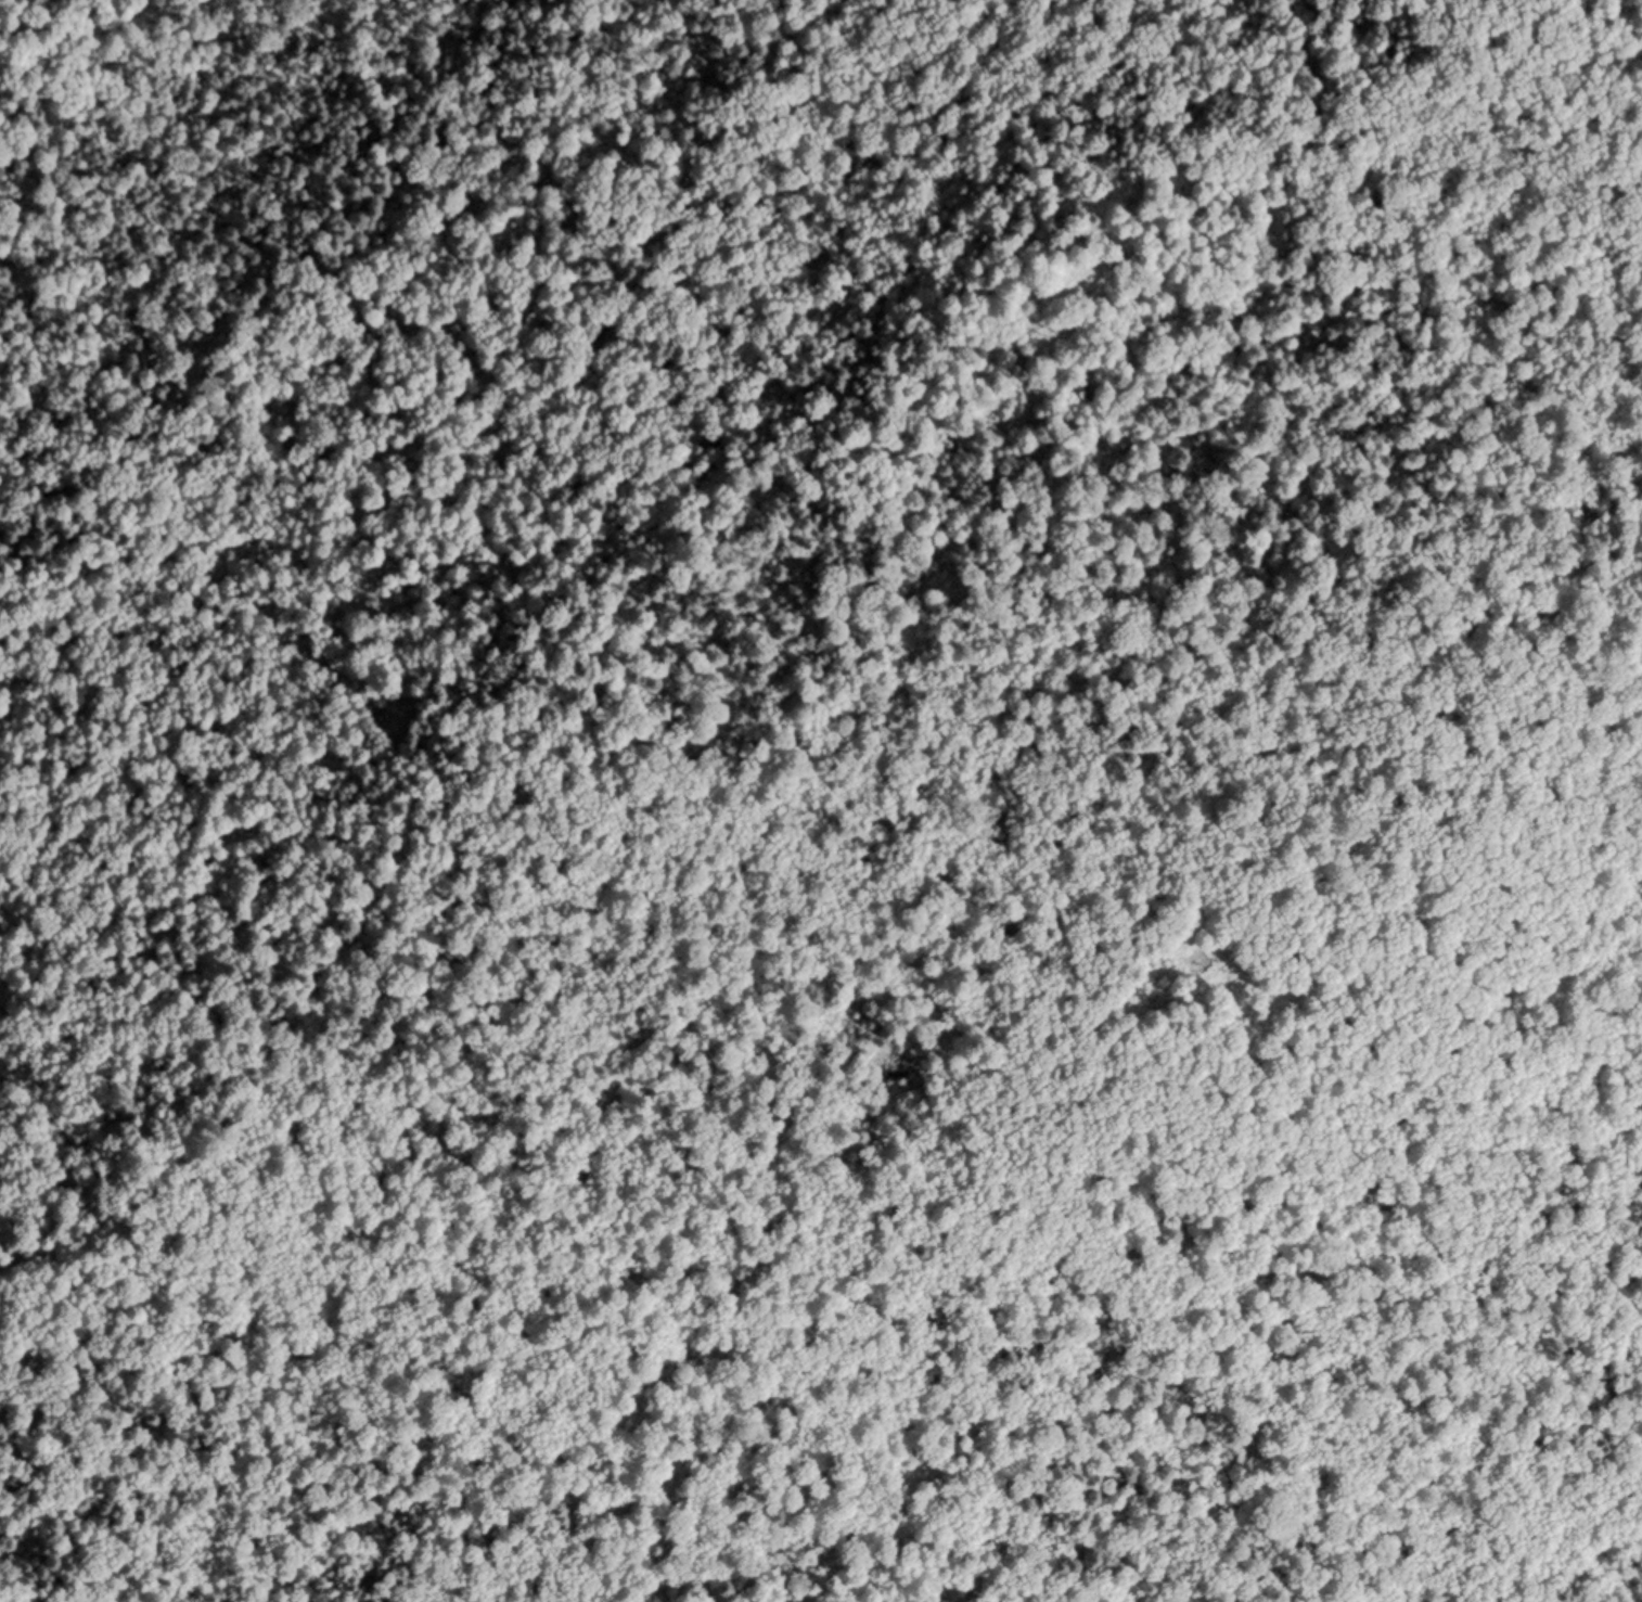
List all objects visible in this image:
road: (630, 148)

